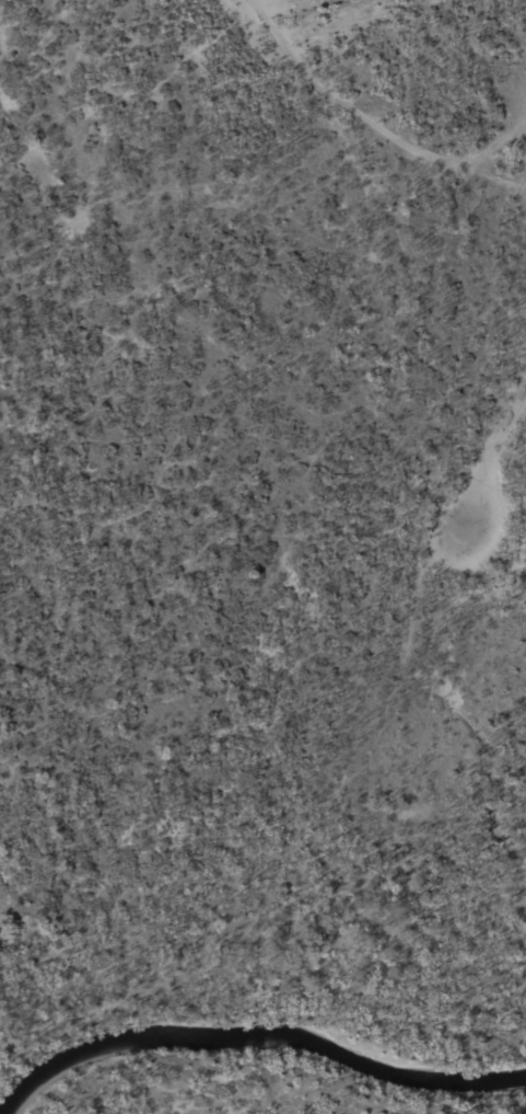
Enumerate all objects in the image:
road: (242, 58)
road: (269, 652)
river: (264, 1041)

